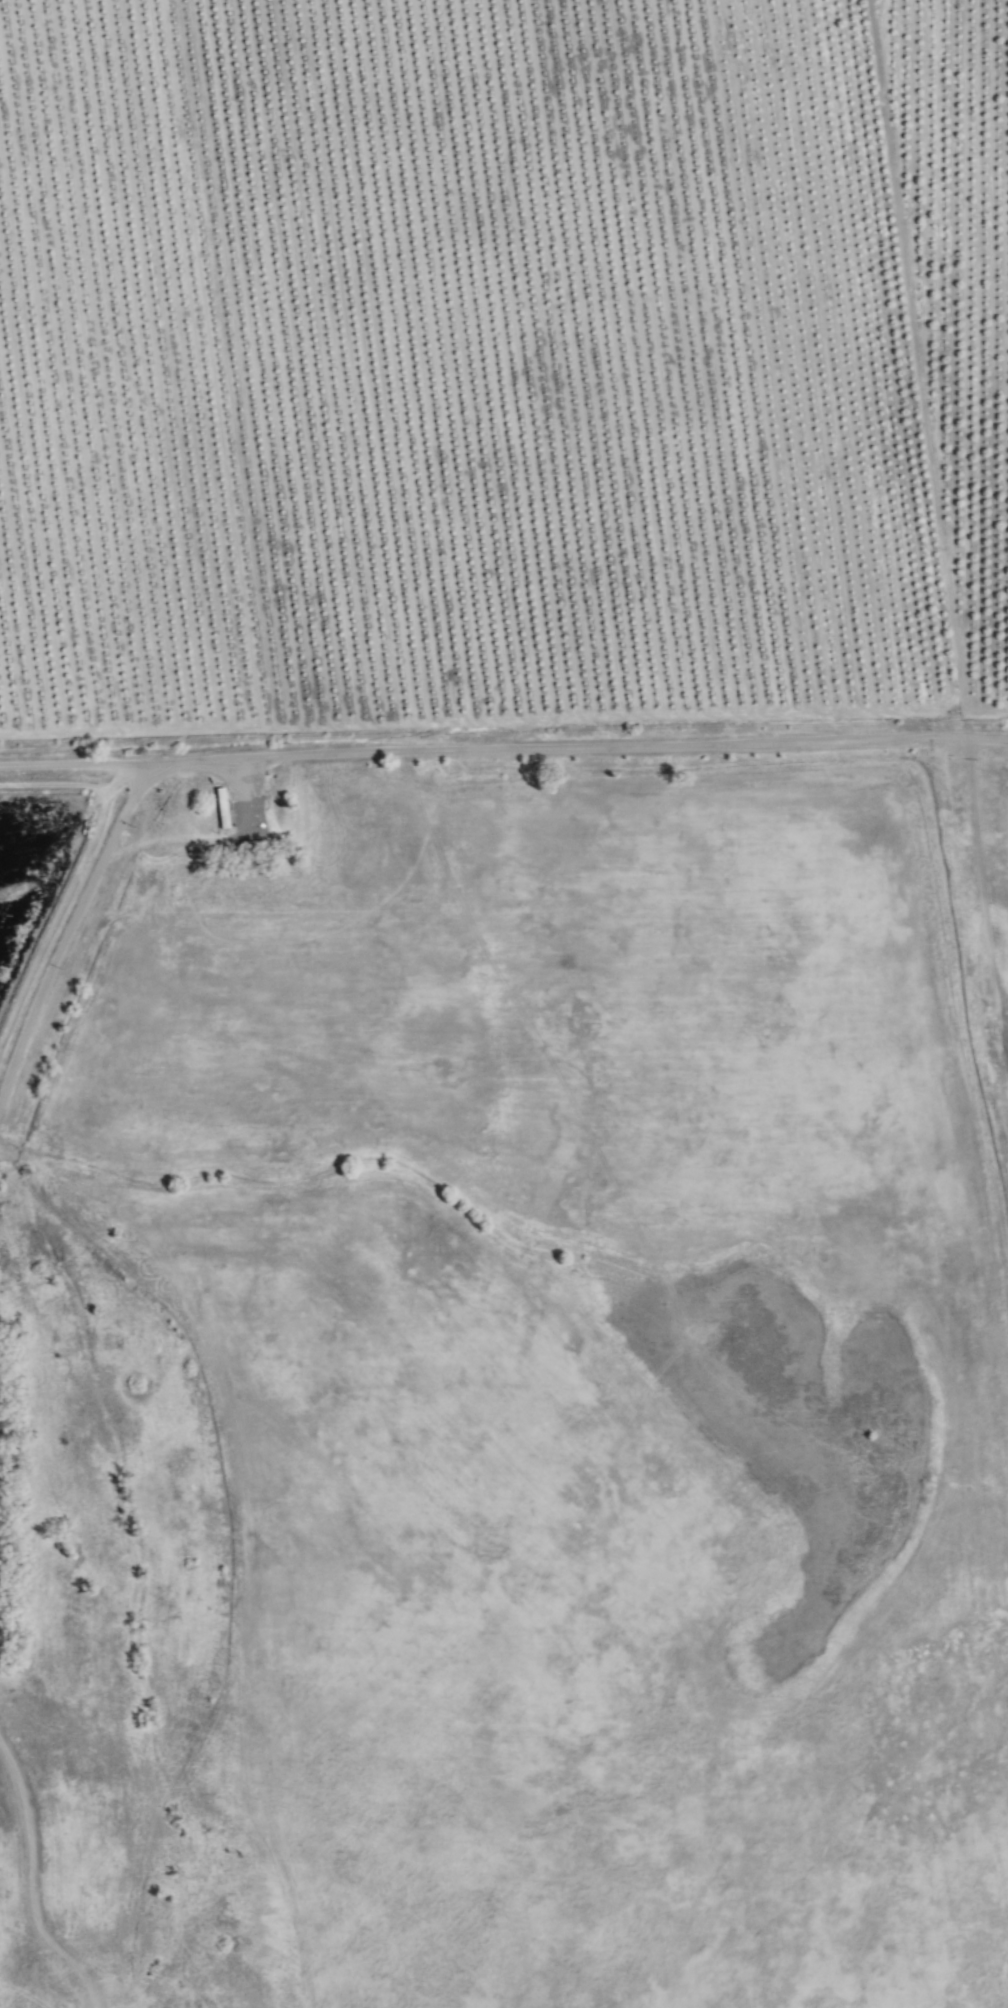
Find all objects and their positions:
road: (985, 739)
road: (481, 762)
road: (984, 915)
road: (63, 934)

